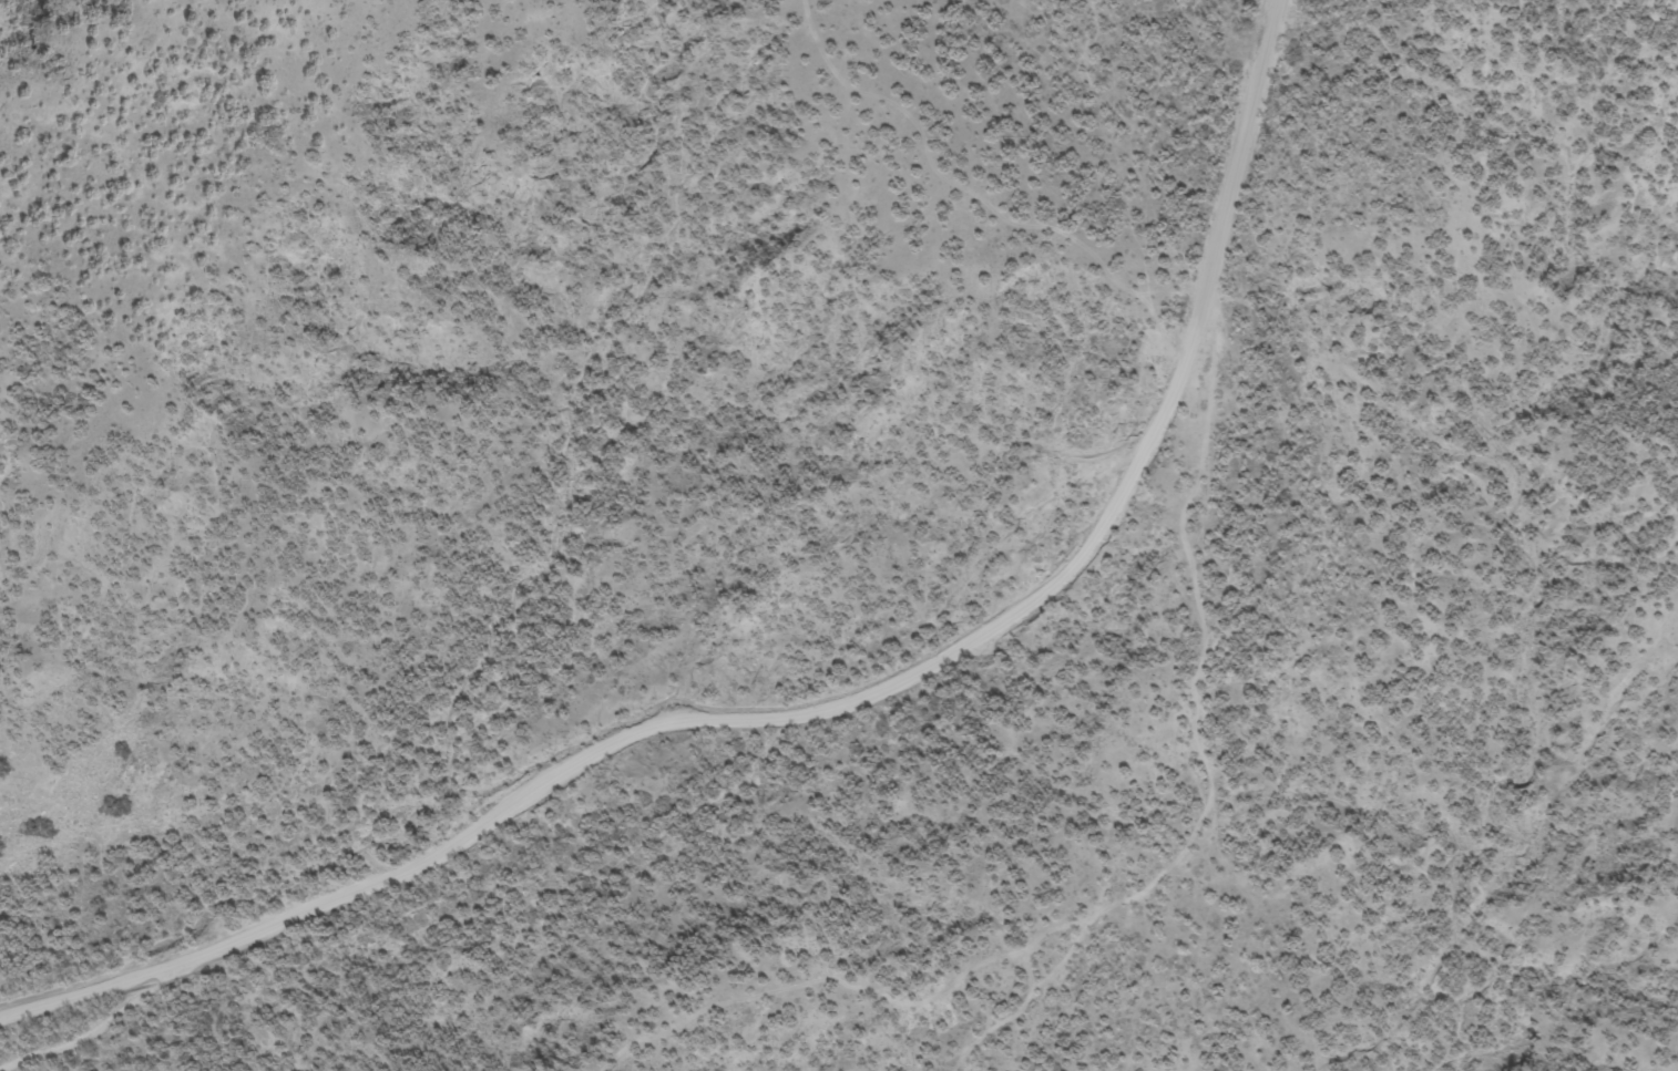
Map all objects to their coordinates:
road: (826, 701)

